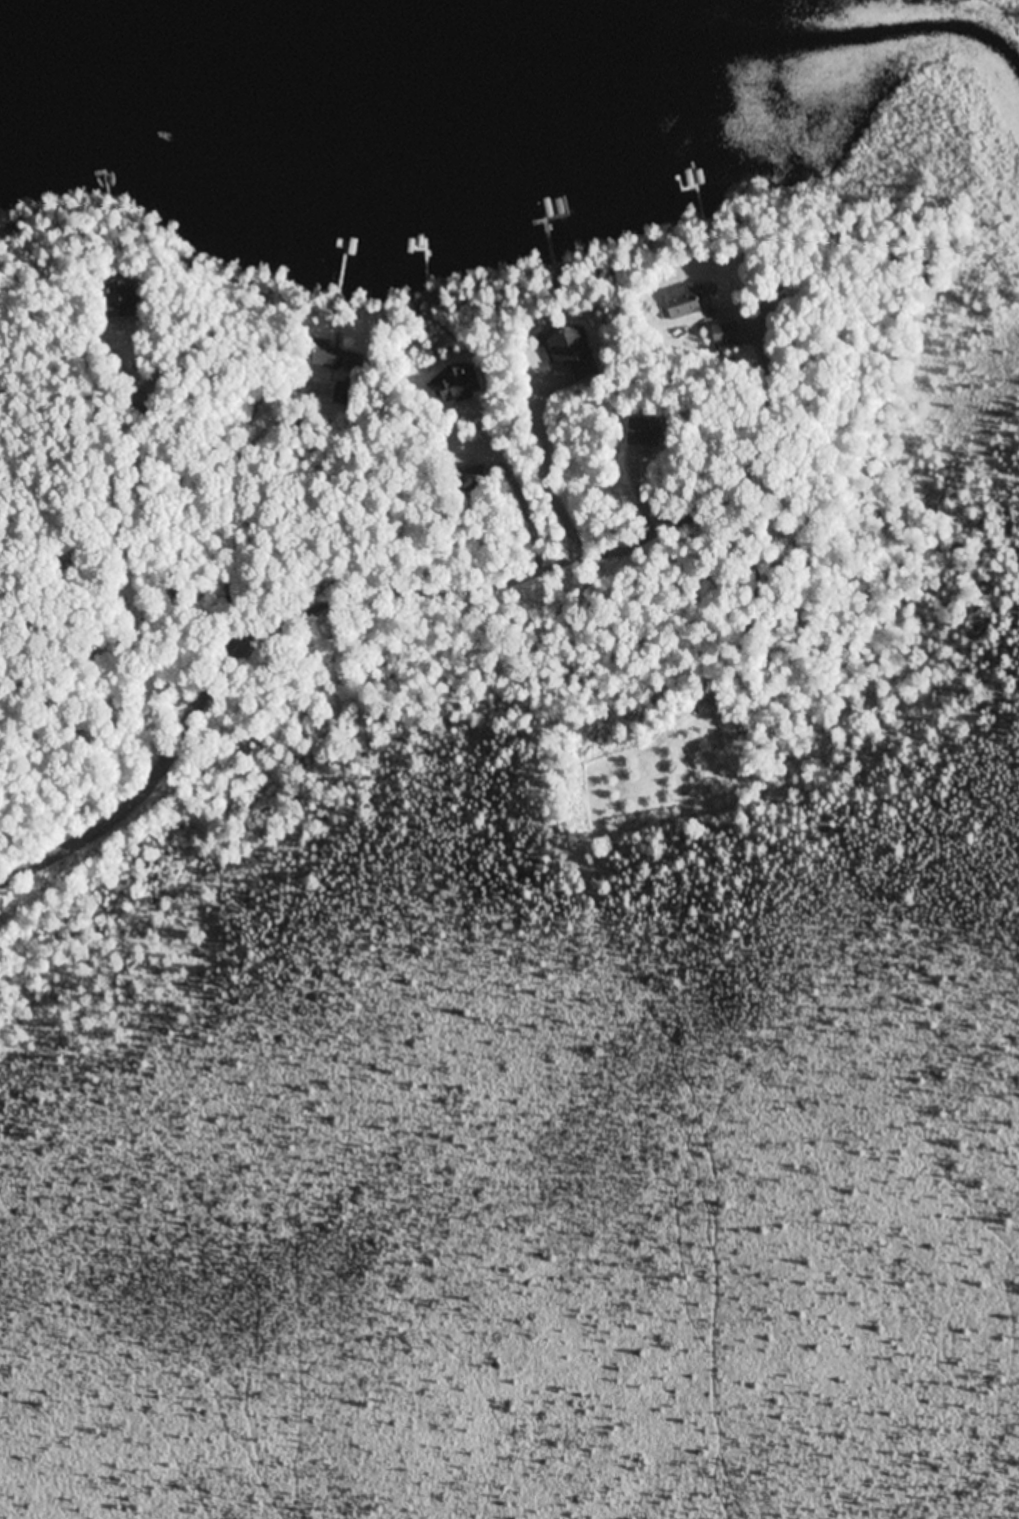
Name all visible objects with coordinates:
building: (116, 290)
building: (680, 301)
building: (722, 333)
building: (554, 345)
building: (318, 346)
building: (447, 383)
road: (270, 408)
road: (191, 429)
road: (539, 475)
road: (378, 598)

